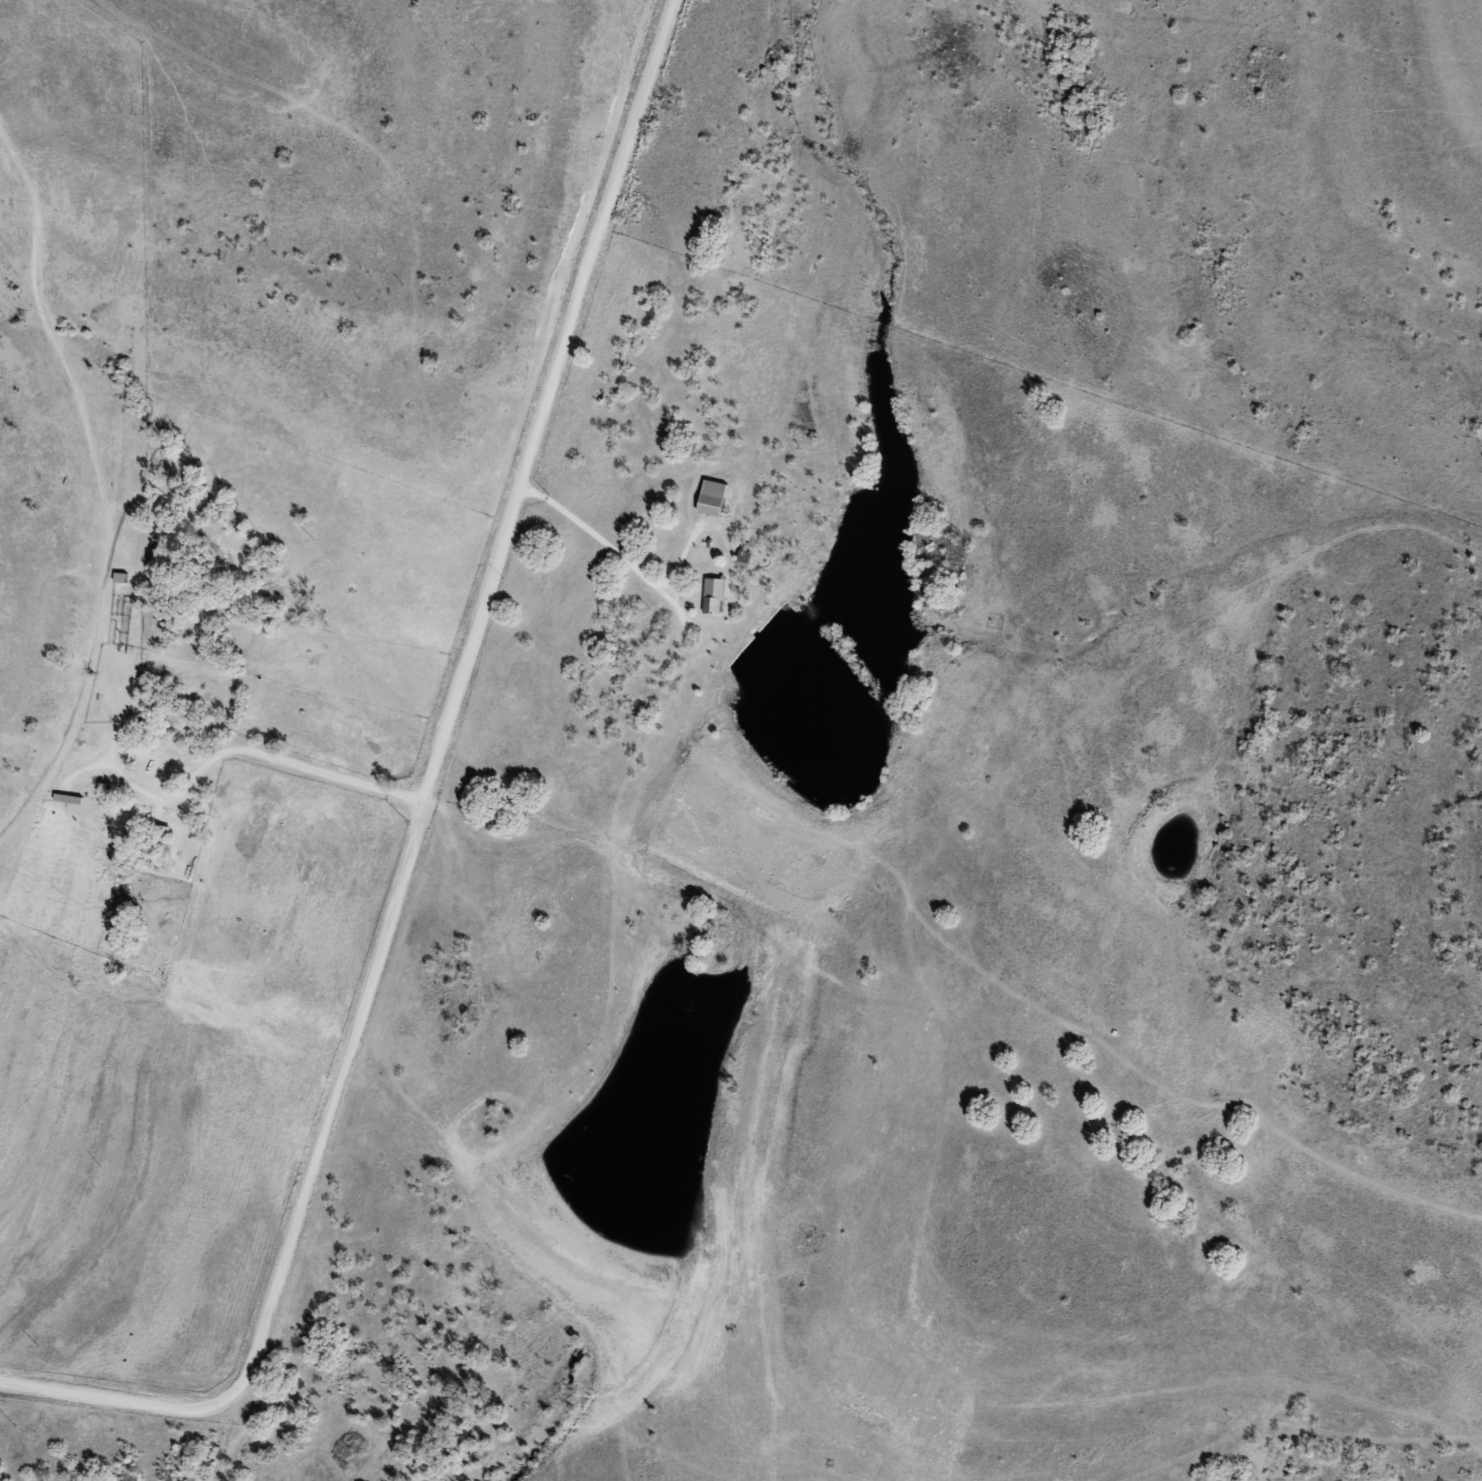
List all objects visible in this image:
building: (710, 507)
building: (745, 556)
building: (713, 606)
building: (122, 607)
road: (414, 812)
building: (158, 845)

